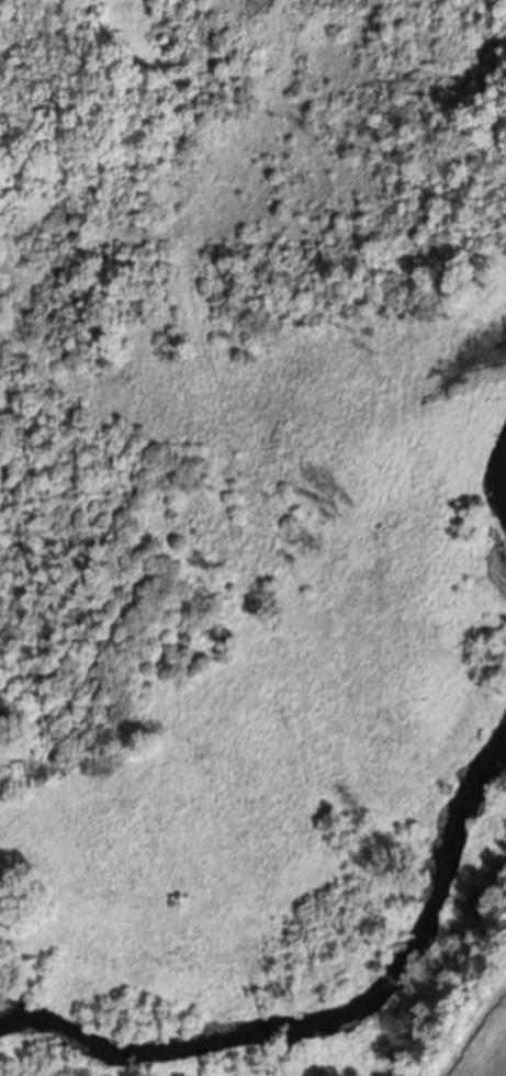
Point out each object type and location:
river: (503, 543)
river: (318, 1013)

